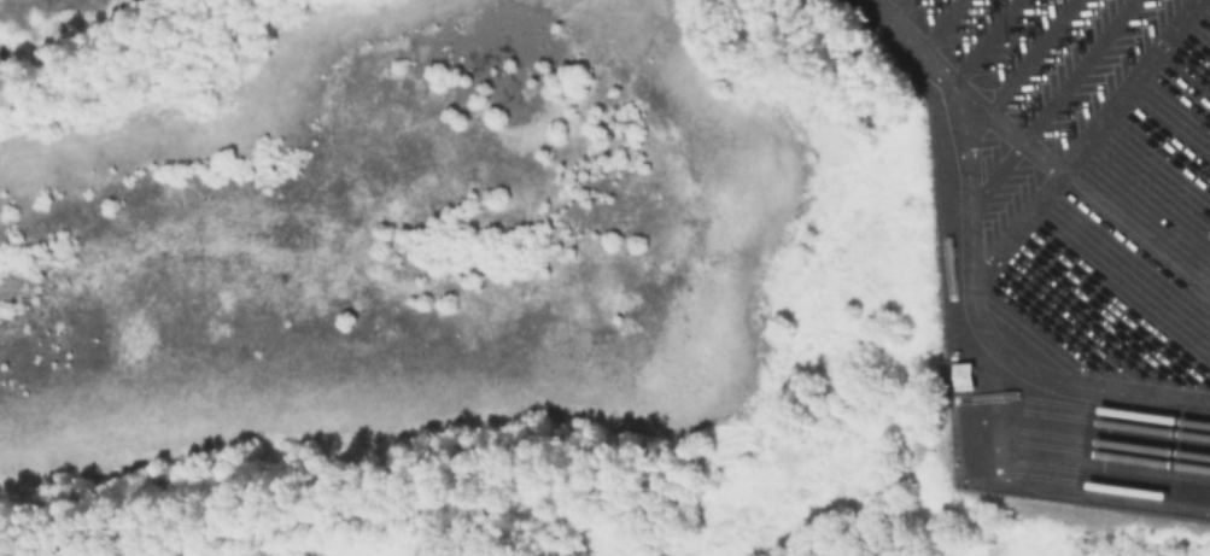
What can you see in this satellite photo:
road: (1034, 150)
road: (992, 351)
building: (963, 375)
building: (976, 437)

